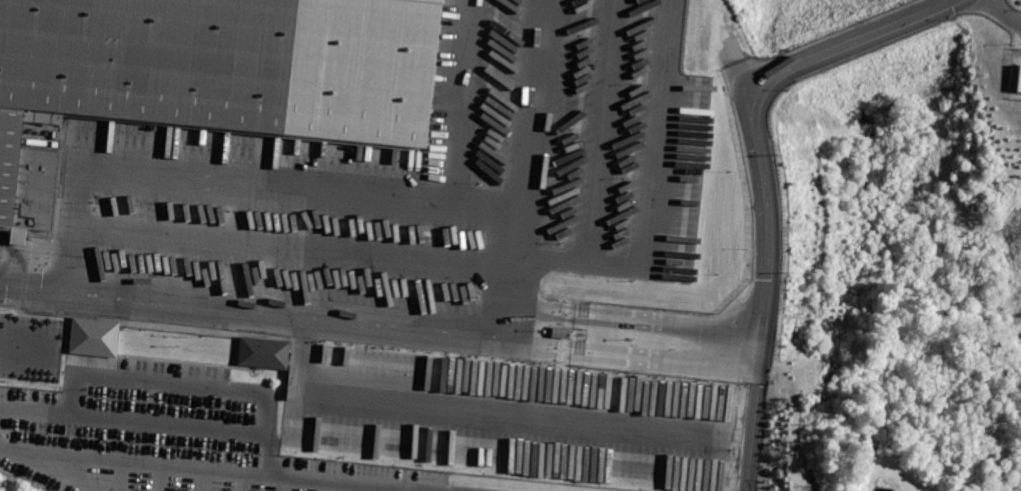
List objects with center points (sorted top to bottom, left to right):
road: (1004, 11)
building: (208, 75)
building: (1019, 81)
road: (457, 98)
road: (752, 114)
road: (604, 130)
road: (522, 166)
road: (239, 178)
road: (650, 198)
road: (294, 251)
road: (252, 307)
road: (635, 313)
building: (93, 336)
road: (544, 338)
road: (28, 348)
road: (671, 352)
building: (265, 354)
road: (189, 382)
road: (34, 409)
road: (470, 414)
road: (169, 423)
road: (753, 426)
road: (52, 467)
road: (218, 469)
road: (120, 475)
road: (160, 477)
road: (205, 479)
road: (245, 481)
road: (283, 483)
road: (325, 485)
road: (367, 488)
road: (408, 490)

